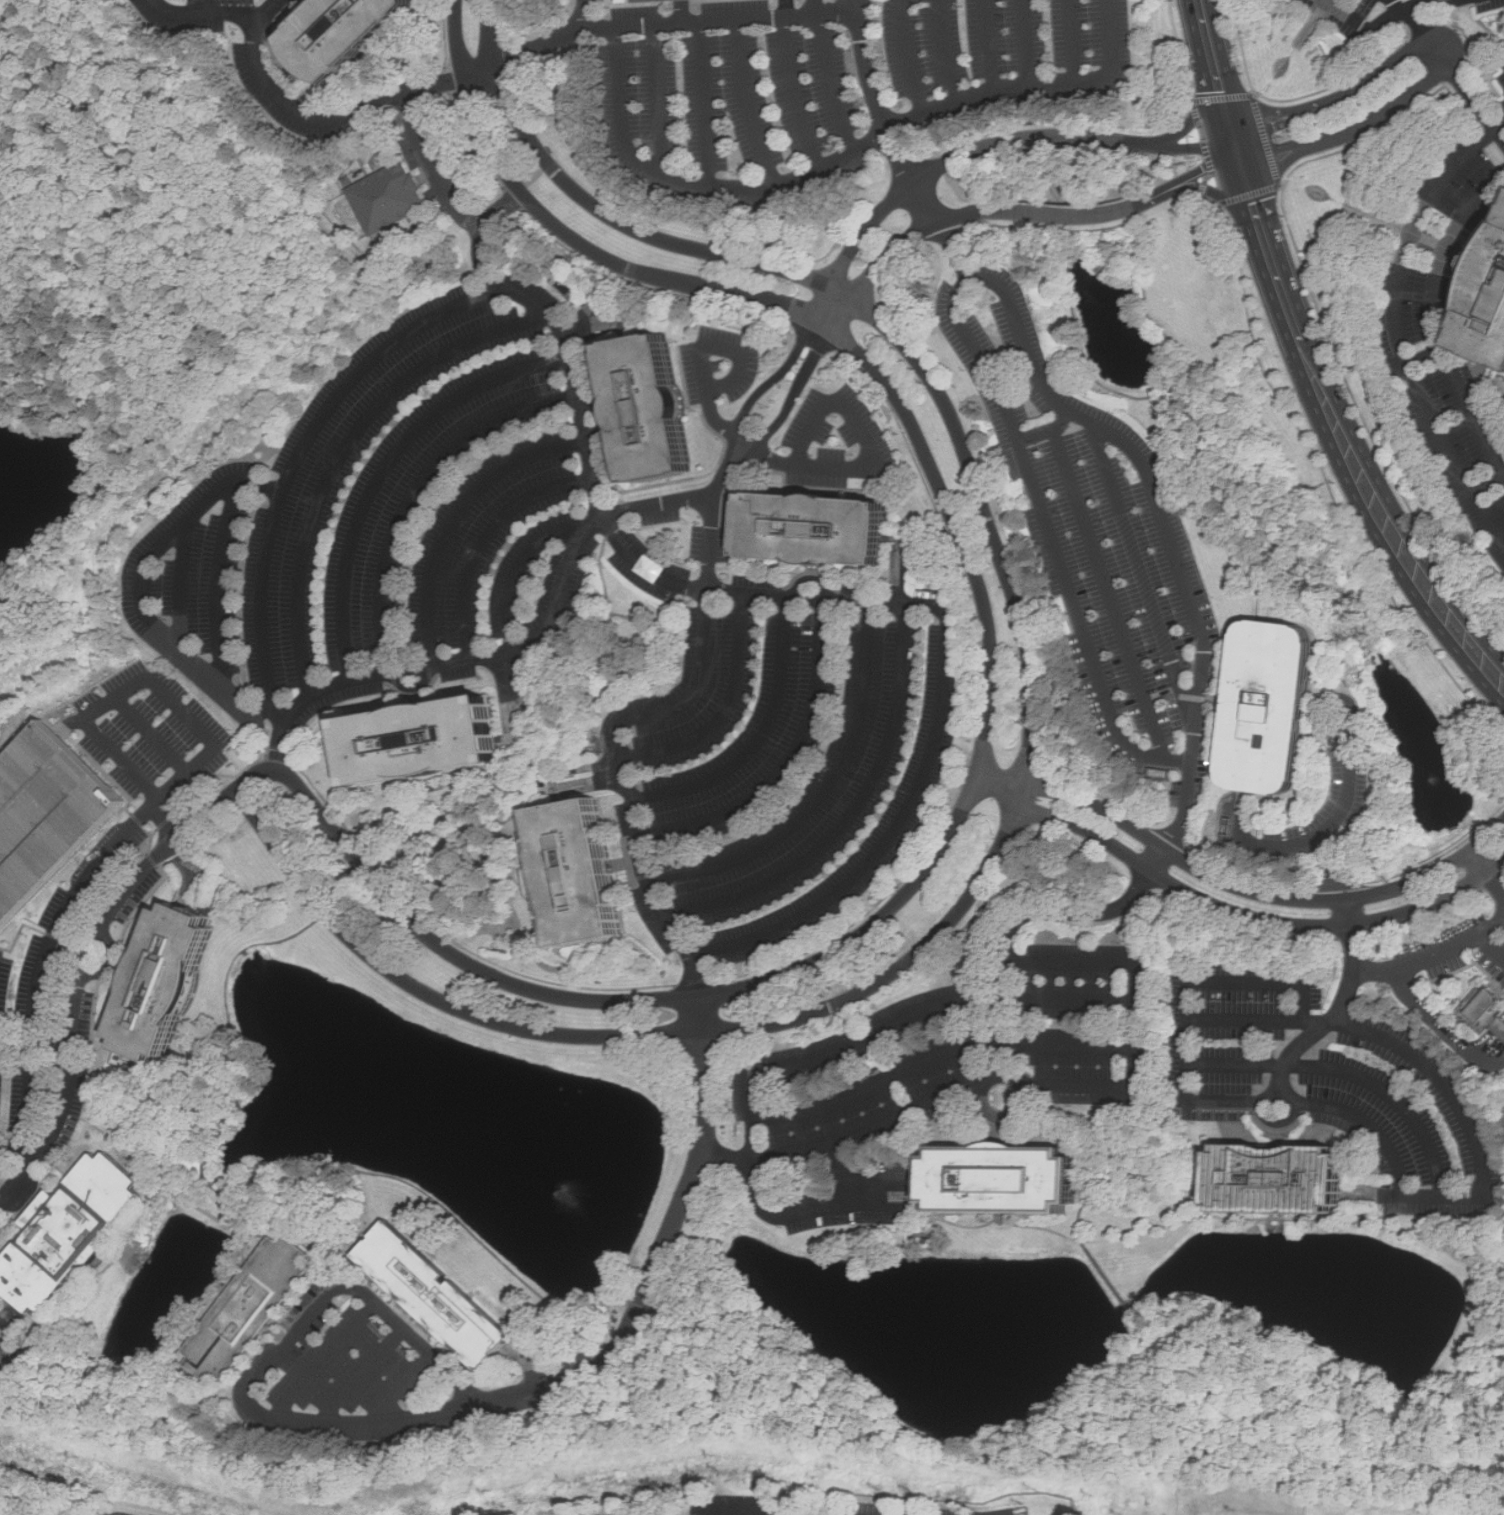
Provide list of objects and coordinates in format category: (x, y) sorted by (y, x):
building: (652, 1)
parking garage: (652, 1)
road: (1419, 2)
road: (787, 5)
road: (683, 9)
road: (581, 12)
road: (739, 13)
road: (201, 18)
road: (1415, 22)
road: (1365, 26)
building: (352, 35)
road: (544, 38)
road: (1075, 39)
road: (1025, 42)
road: (992, 45)
road: (945, 52)
road: (906, 55)
road: (833, 81)
road: (792, 89)
road: (1466, 90)
road: (658, 97)
road: (708, 98)
road: (748, 99)
road: (875, 100)
road: (1339, 101)
road: (1259, 105)
road: (321, 114)
road: (1189, 116)
traffic signals: (1234, 141)
road: (986, 149)
road: (844, 155)
traffic signals: (1239, 157)
road: (1283, 168)
road: (1248, 187)
road: (441, 188)
road: (1213, 194)
building: (389, 197)
road: (1134, 202)
road: (947, 231)
road: (482, 253)
building: (1484, 298)
road: (1013, 304)
river: (1114, 314)
road: (1434, 316)
road: (1396, 323)
road: (699, 343)
road: (389, 345)
road: (1425, 356)
building: (638, 407)
road: (1049, 430)
road: (348, 446)
road: (870, 448)
road: (388, 467)
road: (728, 468)
river: (39, 474)
road: (1489, 481)
road: (457, 518)
parking lot: (1102, 524)
building: (801, 528)
road: (1394, 535)
road: (488, 538)
road: (708, 541)
road: (523, 561)
road: (1139, 568)
road: (182, 582)
road: (220, 582)
road: (1108, 593)
road: (518, 647)
road: (163, 691)
road: (727, 709)
building: (1259, 709)
road: (275, 713)
road: (989, 719)
road: (73, 721)
river: (1414, 730)
road: (151, 733)
parking lot: (152, 733)
road: (760, 738)
building: (409, 741)
road: (1027, 755)
road: (1352, 773)
road: (626, 775)
road: (824, 792)
road: (850, 811)
building: (51, 816)
parking garage: (51, 816)
road: (889, 836)
road: (1288, 844)
building: (567, 873)
road: (1490, 874)
road: (1240, 888)
road: (1234, 909)
road: (1493, 949)
road: (1434, 956)
road: (113, 958)
road: (46, 962)
road: (84, 975)
building: (180, 985)
road: (1070, 999)
road: (1189, 1004)
building: (1486, 1011)
parking lot: (61, 1012)
road: (930, 1012)
road: (1248, 1020)
road: (1003, 1040)
road: (37, 1044)
road: (939, 1059)
road: (1350, 1073)
road: (1012, 1082)
river: (487, 1129)
road: (794, 1151)
road: (1395, 1162)
building: (1269, 1180)
building: (991, 1181)
road: (677, 1214)
building: (70, 1232)
building: (429, 1294)
building: (248, 1309)
river: (913, 1326)
road: (295, 1332)
river: (1373, 1356)
road: (318, 1360)
road: (358, 1376)
road: (400, 1387)

